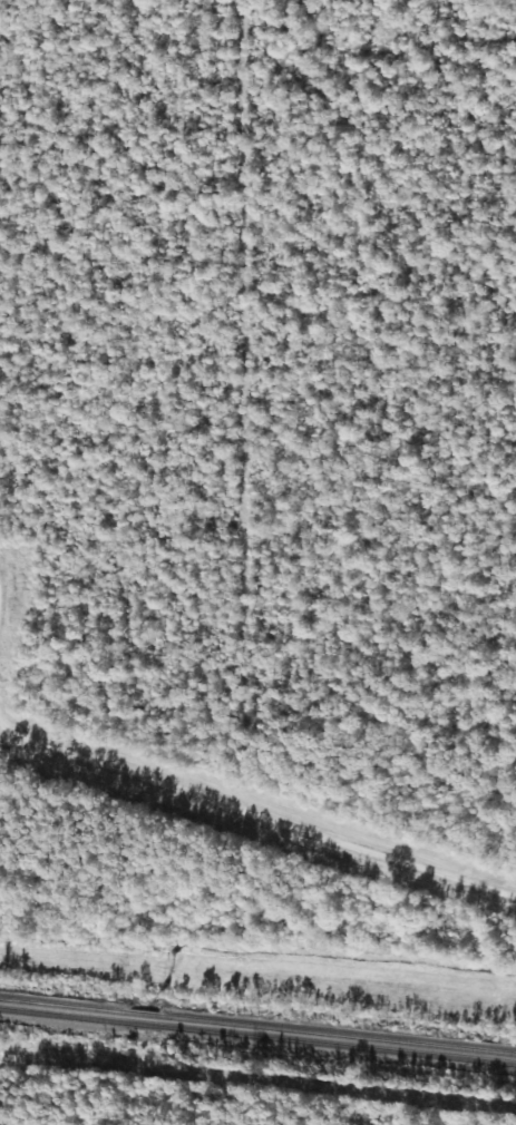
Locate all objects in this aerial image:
road: (257, 813)
railway: (257, 1027)
railway: (257, 1037)

